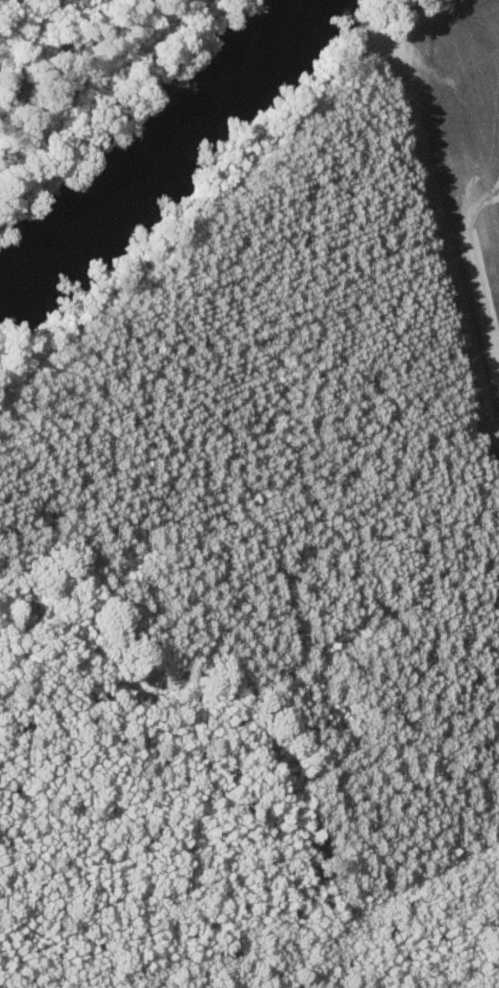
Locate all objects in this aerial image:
river: (162, 150)
road: (198, 216)
road: (442, 274)

